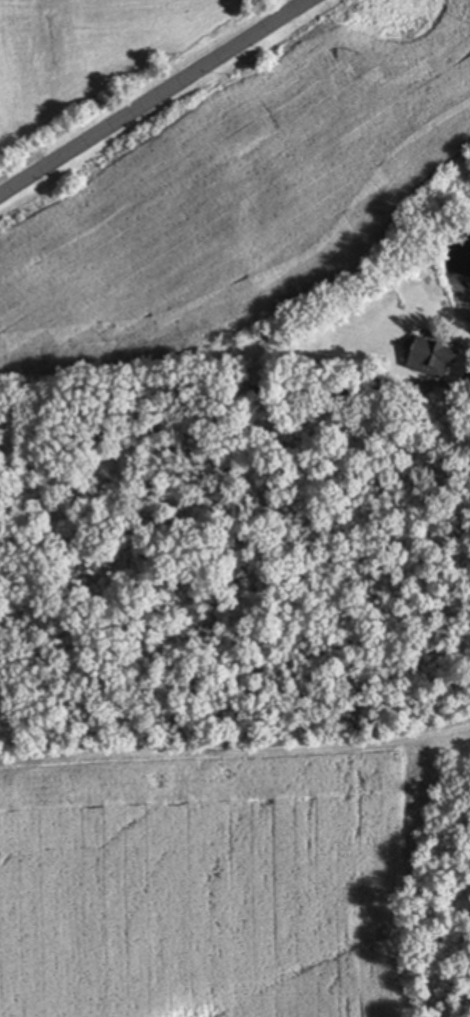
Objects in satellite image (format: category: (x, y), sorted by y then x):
road: (149, 91)
building: (437, 356)
building: (264, 372)

